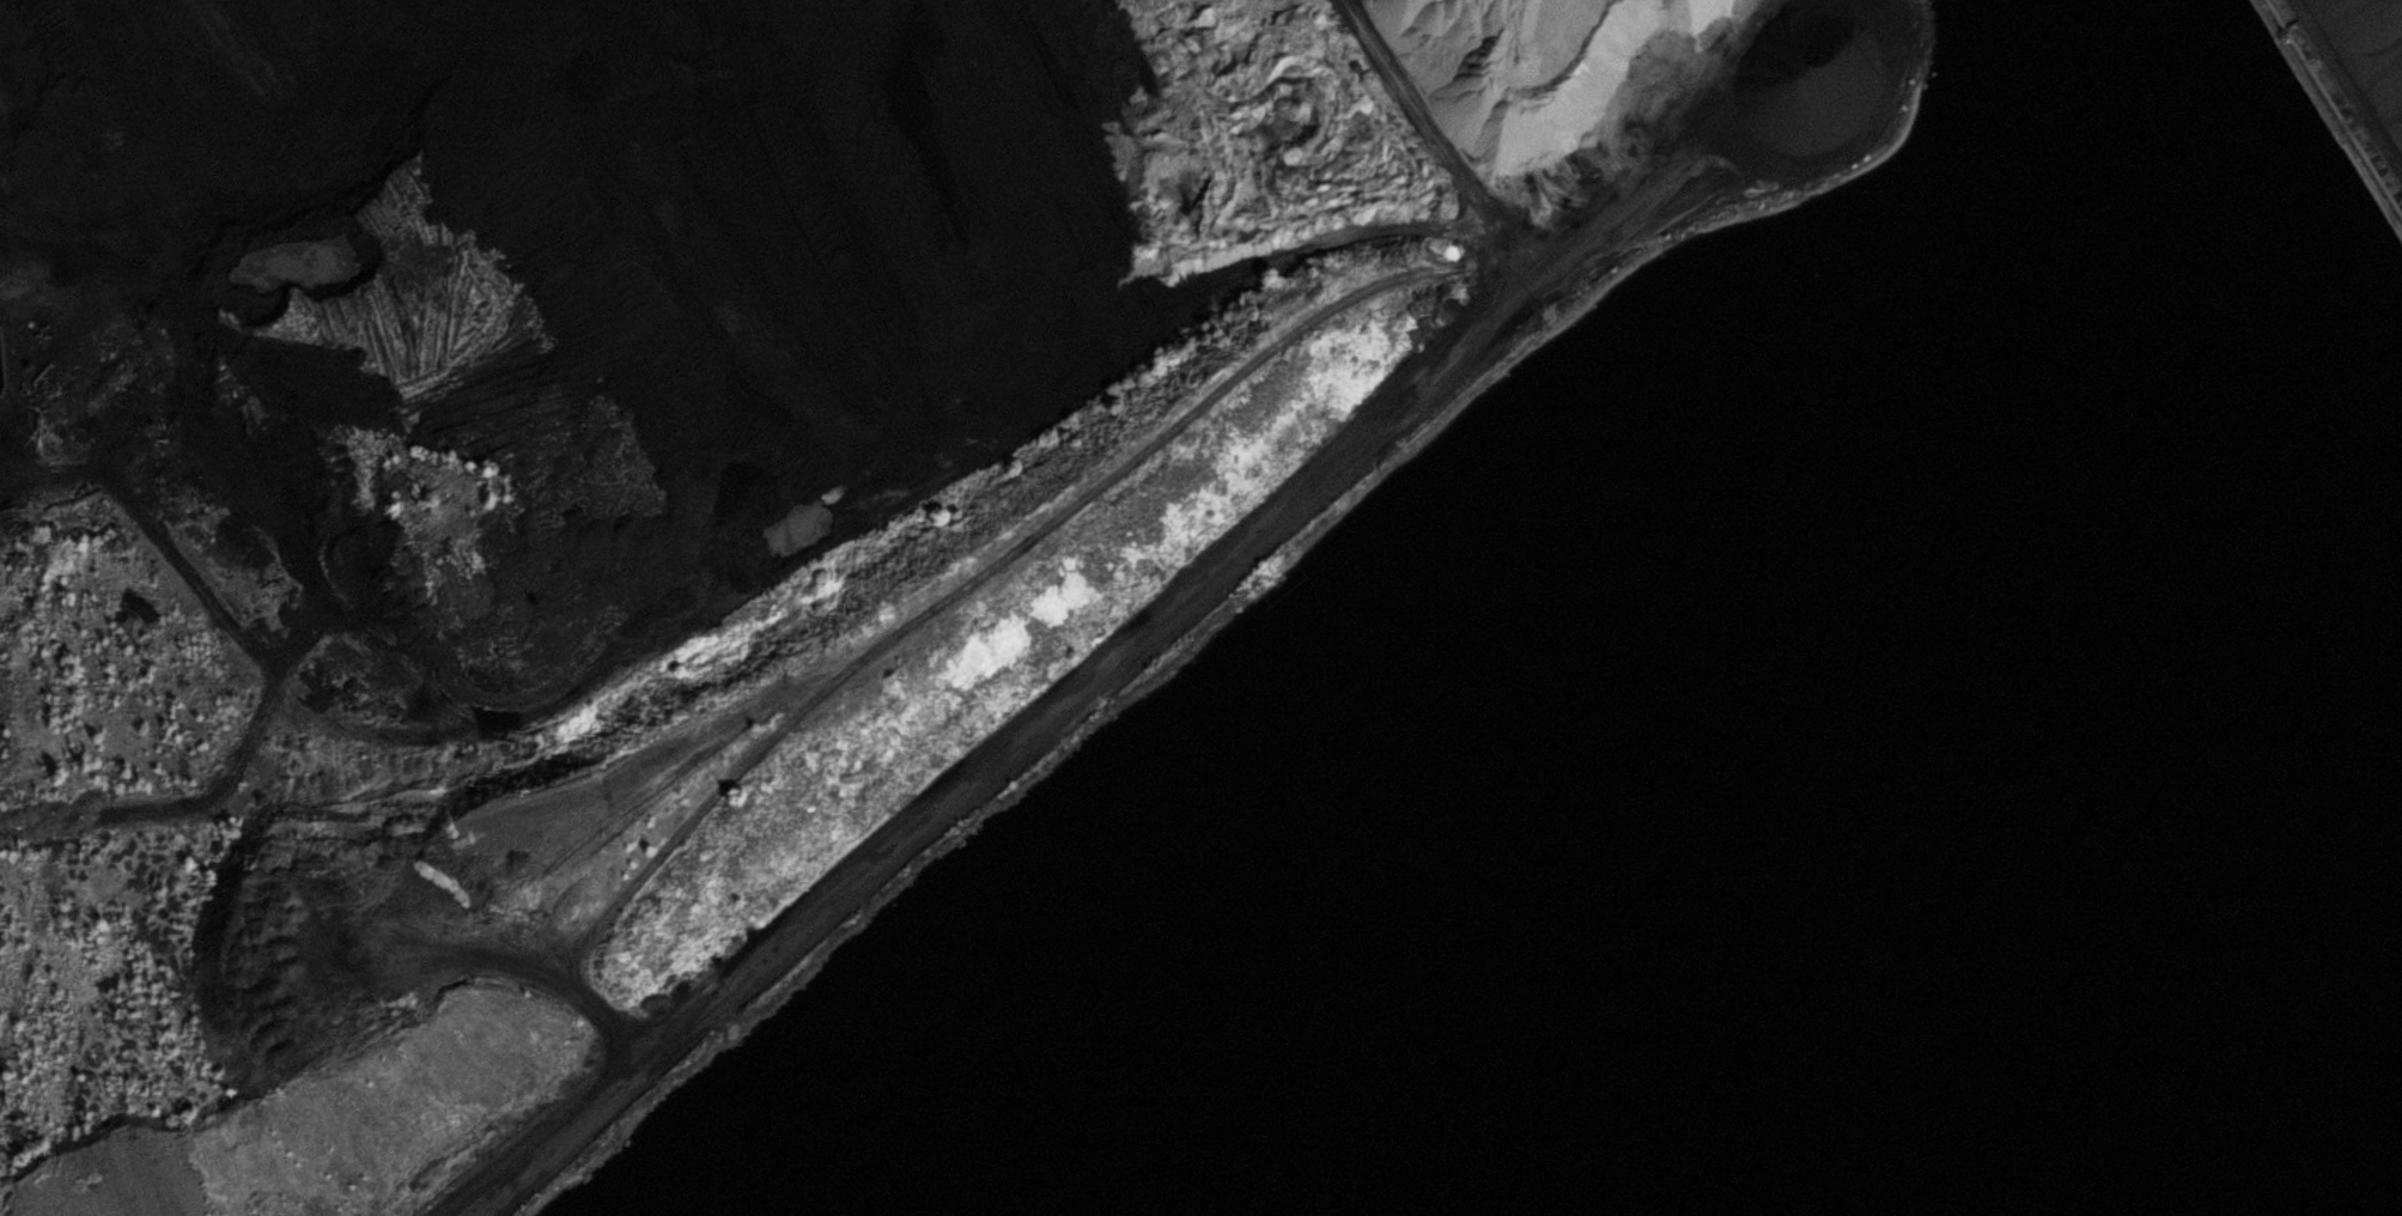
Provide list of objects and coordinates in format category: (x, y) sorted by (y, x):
landfill: (571, 302)

